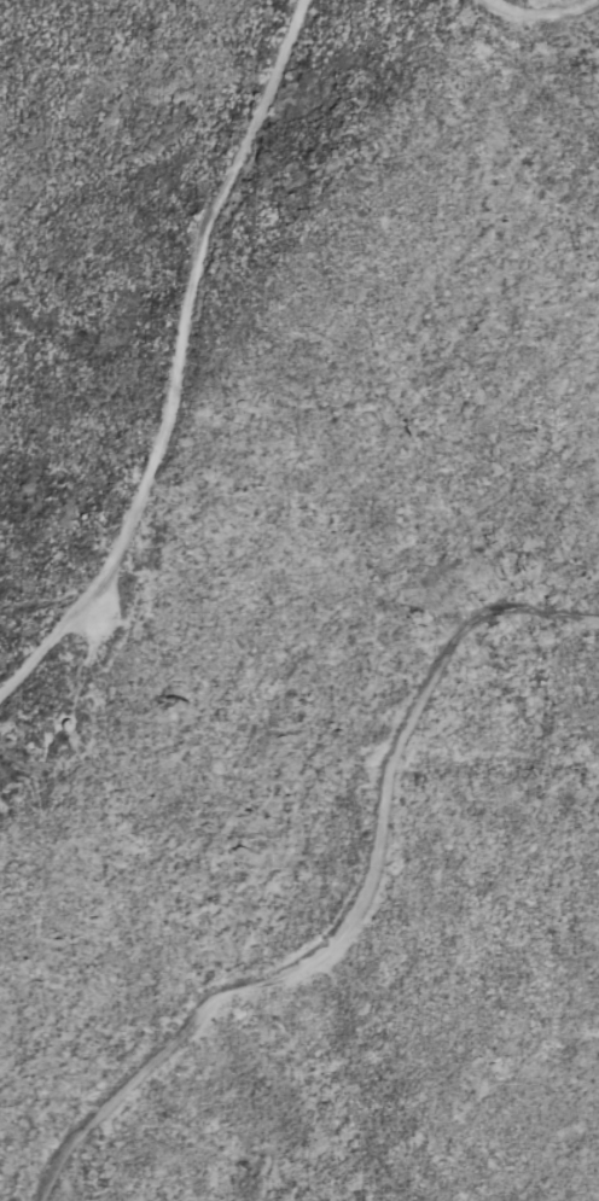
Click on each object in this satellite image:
road: (535, 29)
road: (179, 365)
road: (45, 595)
water tower: (66, 747)
road: (370, 911)

